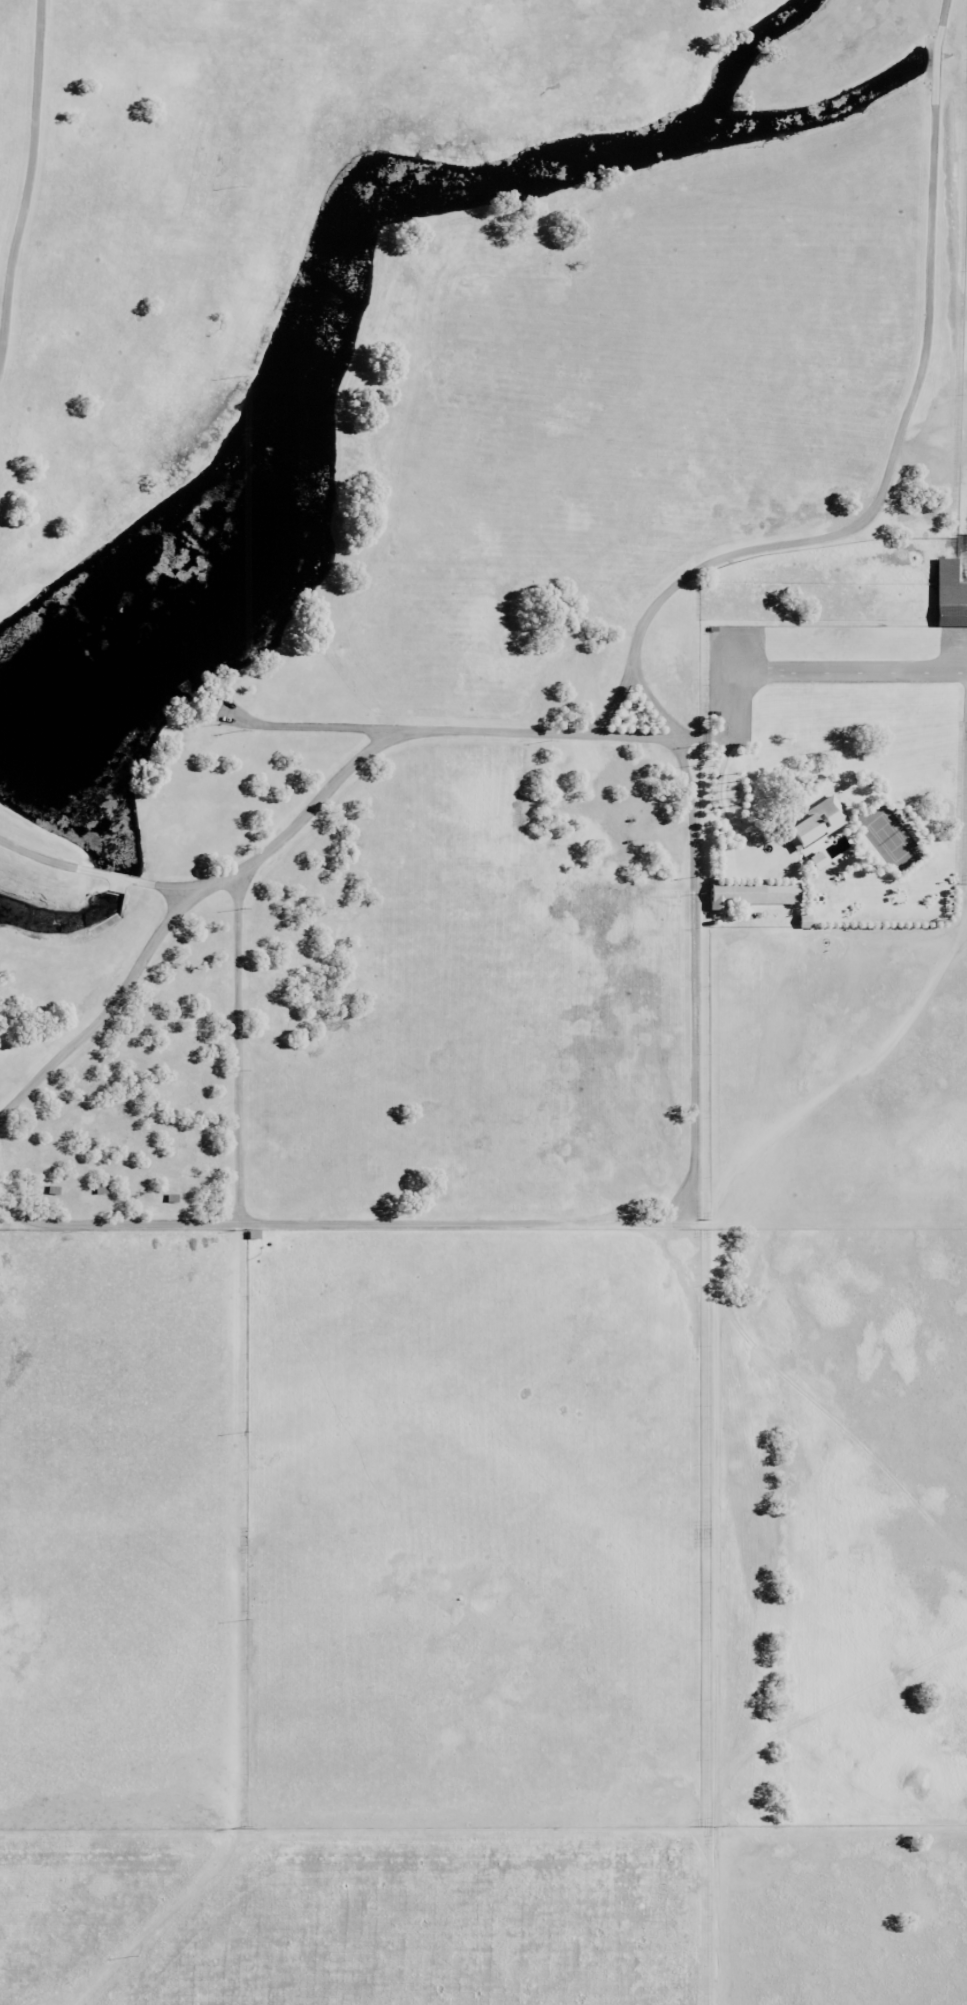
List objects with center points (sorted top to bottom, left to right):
road: (907, 413)
building: (949, 594)
airport runway: (848, 672)
road: (848, 672)
road: (656, 703)
road: (612, 706)
road: (333, 785)
road: (718, 807)
building: (814, 822)
park: (889, 835)
road: (52, 859)
building: (816, 860)
road: (119, 877)
road: (166, 886)
building: (752, 892)
building: (804, 920)
road: (694, 974)

